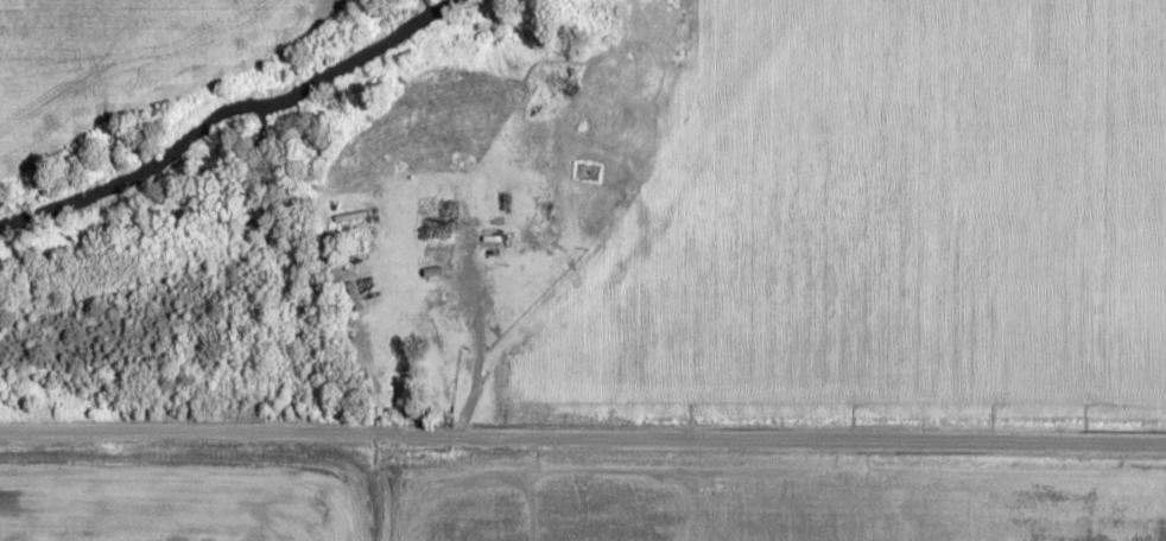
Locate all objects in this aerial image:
road: (628, 218)
building: (441, 223)
road: (582, 438)
road: (351, 484)

